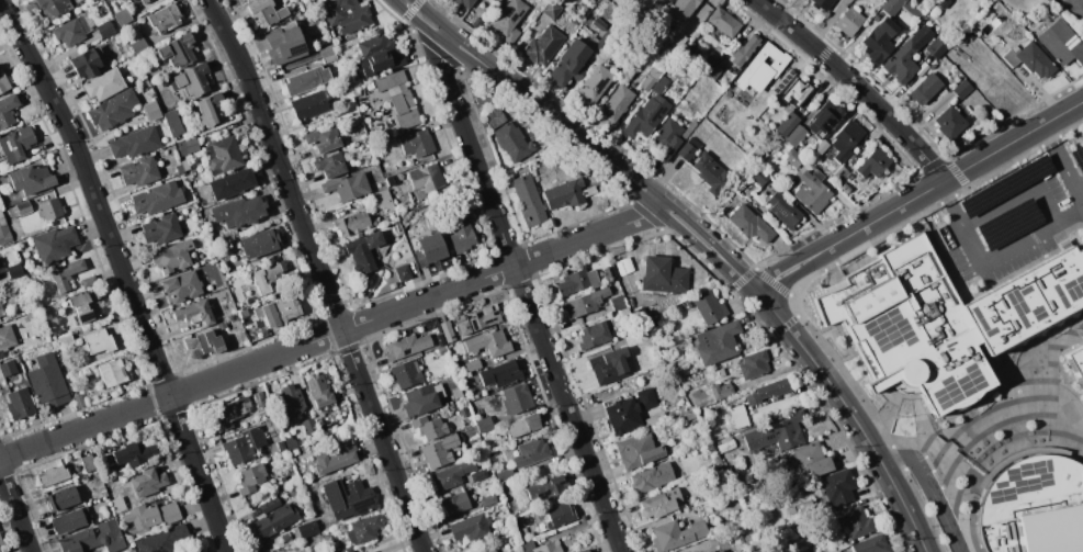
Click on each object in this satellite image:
building: (93, 0)
building: (498, 0)
building: (144, 1)
building: (462, 3)
building: (943, 3)
building: (821, 4)
building: (54, 7)
building: (551, 9)
building: (681, 9)
building: (914, 11)
building: (266, 12)
building: (347, 14)
building: (123, 16)
building: (165, 18)
building: (509, 20)
building: (575, 21)
building: (724, 22)
building: (850, 22)
building: (599, 24)
building: (105, 29)
building: (972, 29)
building: (72, 31)
building: (135, 38)
building: (591, 42)
building: (879, 42)
building: (1061, 43)
building: (286, 45)
building: (542, 46)
building: (688, 47)
building: (935, 47)
building: (744, 49)
building: (178, 50)
building: (328, 54)
building: (379, 54)
building: (711, 56)
building: (906, 56)
building: (1030, 59)
building: (86, 63)
building: (571, 63)
building: (760, 68)
building: (714, 71)
building: (652, 76)
building: (192, 80)
building: (307, 80)
building: (392, 81)
building: (165, 82)
building: (3, 83)
building: (103, 85)
building: (595, 85)
building: (661, 85)
road: (854, 85)
building: (962, 88)
building: (925, 89)
building: (797, 92)
road: (531, 100)
building: (617, 103)
building: (309, 105)
building: (346, 109)
building: (7, 110)
building: (112, 110)
building: (210, 110)
building: (406, 110)
building: (150, 111)
building: (700, 112)
building: (495, 117)
building: (647, 117)
building: (824, 119)
building: (790, 122)
building: (173, 123)
building: (949, 123)
building: (689, 128)
building: (796, 136)
building: (323, 139)
building: (665, 139)
building: (512, 140)
building: (846, 140)
building: (135, 143)
building: (15, 145)
building: (416, 145)
building: (188, 146)
building: (822, 146)
building: (688, 149)
building: (758, 150)
building: (224, 155)
building: (793, 158)
road: (1063, 159)
building: (851, 160)
building: (330, 165)
building: (875, 165)
building: (180, 168)
building: (140, 171)
building: (710, 172)
building: (841, 173)
building: (760, 177)
building: (426, 178)
building: (29, 179)
building: (393, 180)
building: (232, 183)
building: (348, 185)
building: (845, 188)
building: (567, 193)
building: (814, 193)
building: (188, 194)
road: (918, 194)
building: (763, 195)
road: (1020, 195)
building: (528, 199)
building: (150, 201)
building: (383, 201)
building: (192, 206)
building: (783, 209)
building: (20, 210)
building: (50, 210)
building: (239, 212)
building: (749, 223)
building: (353, 224)
parking lot: (1012, 225)
road: (696, 227)
building: (160, 230)
building: (4, 232)
building: (460, 232)
road: (687, 236)
building: (54, 244)
building: (259, 244)
building: (428, 248)
building: (363, 251)
building: (618, 251)
building: (171, 257)
road: (992, 261)
building: (624, 266)
building: (14, 271)
road: (123, 272)
building: (402, 272)
building: (66, 273)
road: (319, 273)
building: (609, 273)
building: (664, 275)
building: (267, 277)
building: (89, 281)
building: (578, 281)
building: (391, 284)
building: (181, 286)
road: (523, 294)
building: (618, 302)
building: (585, 303)
building: (86, 306)
building: (709, 307)
building: (636, 308)
building: (1, 311)
building: (46, 312)
building: (280, 312)
building: (194, 314)
building: (477, 319)
building: (945, 319)
building: (219, 326)
building: (424, 327)
building: (448, 331)
road: (330, 334)
building: (594, 335)
building: (7, 336)
building: (63, 342)
building: (98, 342)
building: (204, 342)
building: (488, 343)
building: (718, 343)
building: (407, 347)
building: (441, 351)
building: (382, 362)
building: (1078, 363)
building: (473, 364)
building: (753, 364)
building: (609, 365)
building: (672, 365)
building: (8, 367)
building: (678, 372)
building: (112, 373)
building: (406, 374)
building: (500, 374)
building: (48, 381)
building: (721, 390)
building: (319, 392)
building: (765, 392)
building: (458, 393)
road: (839, 396)
building: (646, 397)
building: (422, 398)
building: (517, 398)
building: (260, 399)
building: (292, 399)
building: (78, 401)
building: (20, 404)
building: (230, 413)
building: (622, 416)
building: (690, 416)
building: (738, 416)
flagpole: (896, 417)
building: (655, 420)
building: (309, 425)
building: (484, 425)
building: (523, 426)
building: (429, 427)
building: (777, 433)
building: (726, 441)
building: (292, 442)
building: (244, 446)
building: (281, 446)
building: (710, 449)
building: (294, 451)
building: (440, 451)
building: (533, 451)
building: (633, 452)
building: (135, 453)
building: (336, 455)
building: (811, 460)
building: (89, 463)
building: (504, 474)
building: (52, 475)
building: (451, 475)
building: (478, 475)
building: (250, 477)
building: (653, 477)
building: (147, 482)
building: (837, 487)
building: (545, 489)
road: (933, 489)
building: (102, 491)
building: (60, 498)
building: (348, 498)
building: (488, 500)
building: (454, 504)
building: (119, 505)
building: (655, 505)
building: (804, 506)
building: (1034, 507)
building: (710, 508)
building: (790, 510)
road: (14, 512)
building: (559, 515)
building: (150, 516)
building: (273, 517)
building: (69, 521)
building: (471, 527)
building: (307, 529)
building: (365, 530)
building: (861, 531)
building: (523, 533)
building: (676, 533)
building: (285, 537)
building: (95, 538)
building: (167, 540)
building: (1, 541)
building: (312, 541)
building: (738, 542)
building: (132, 545)
building: (542, 547)
building: (346, 549)
building: (583, 550)
building: (0, 551)
building: (492, 551)
building: (519, 551)
building: (703, 551)
building: (711, 551)
building: (720, 551)

